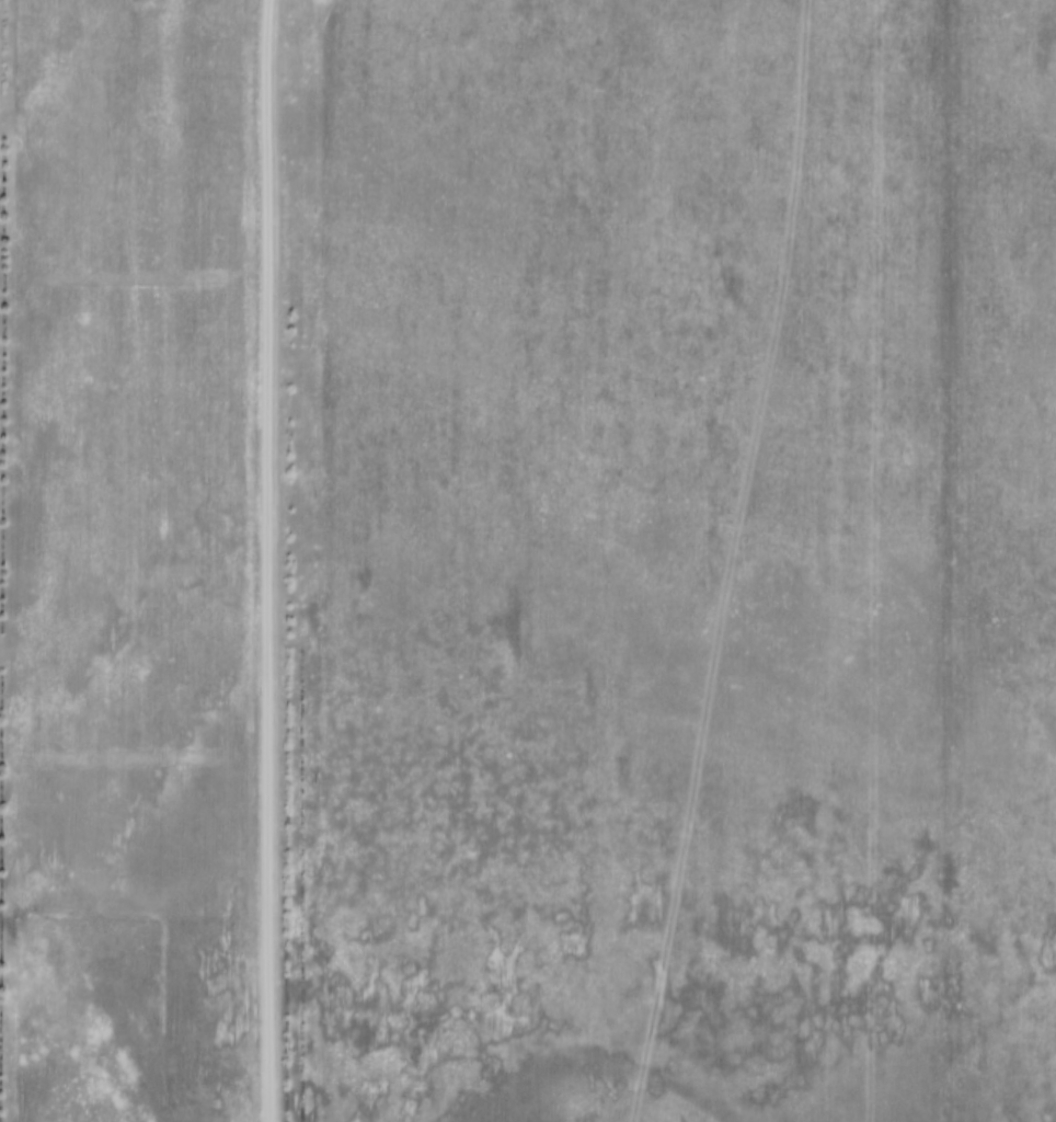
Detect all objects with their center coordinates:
road: (268, 560)

